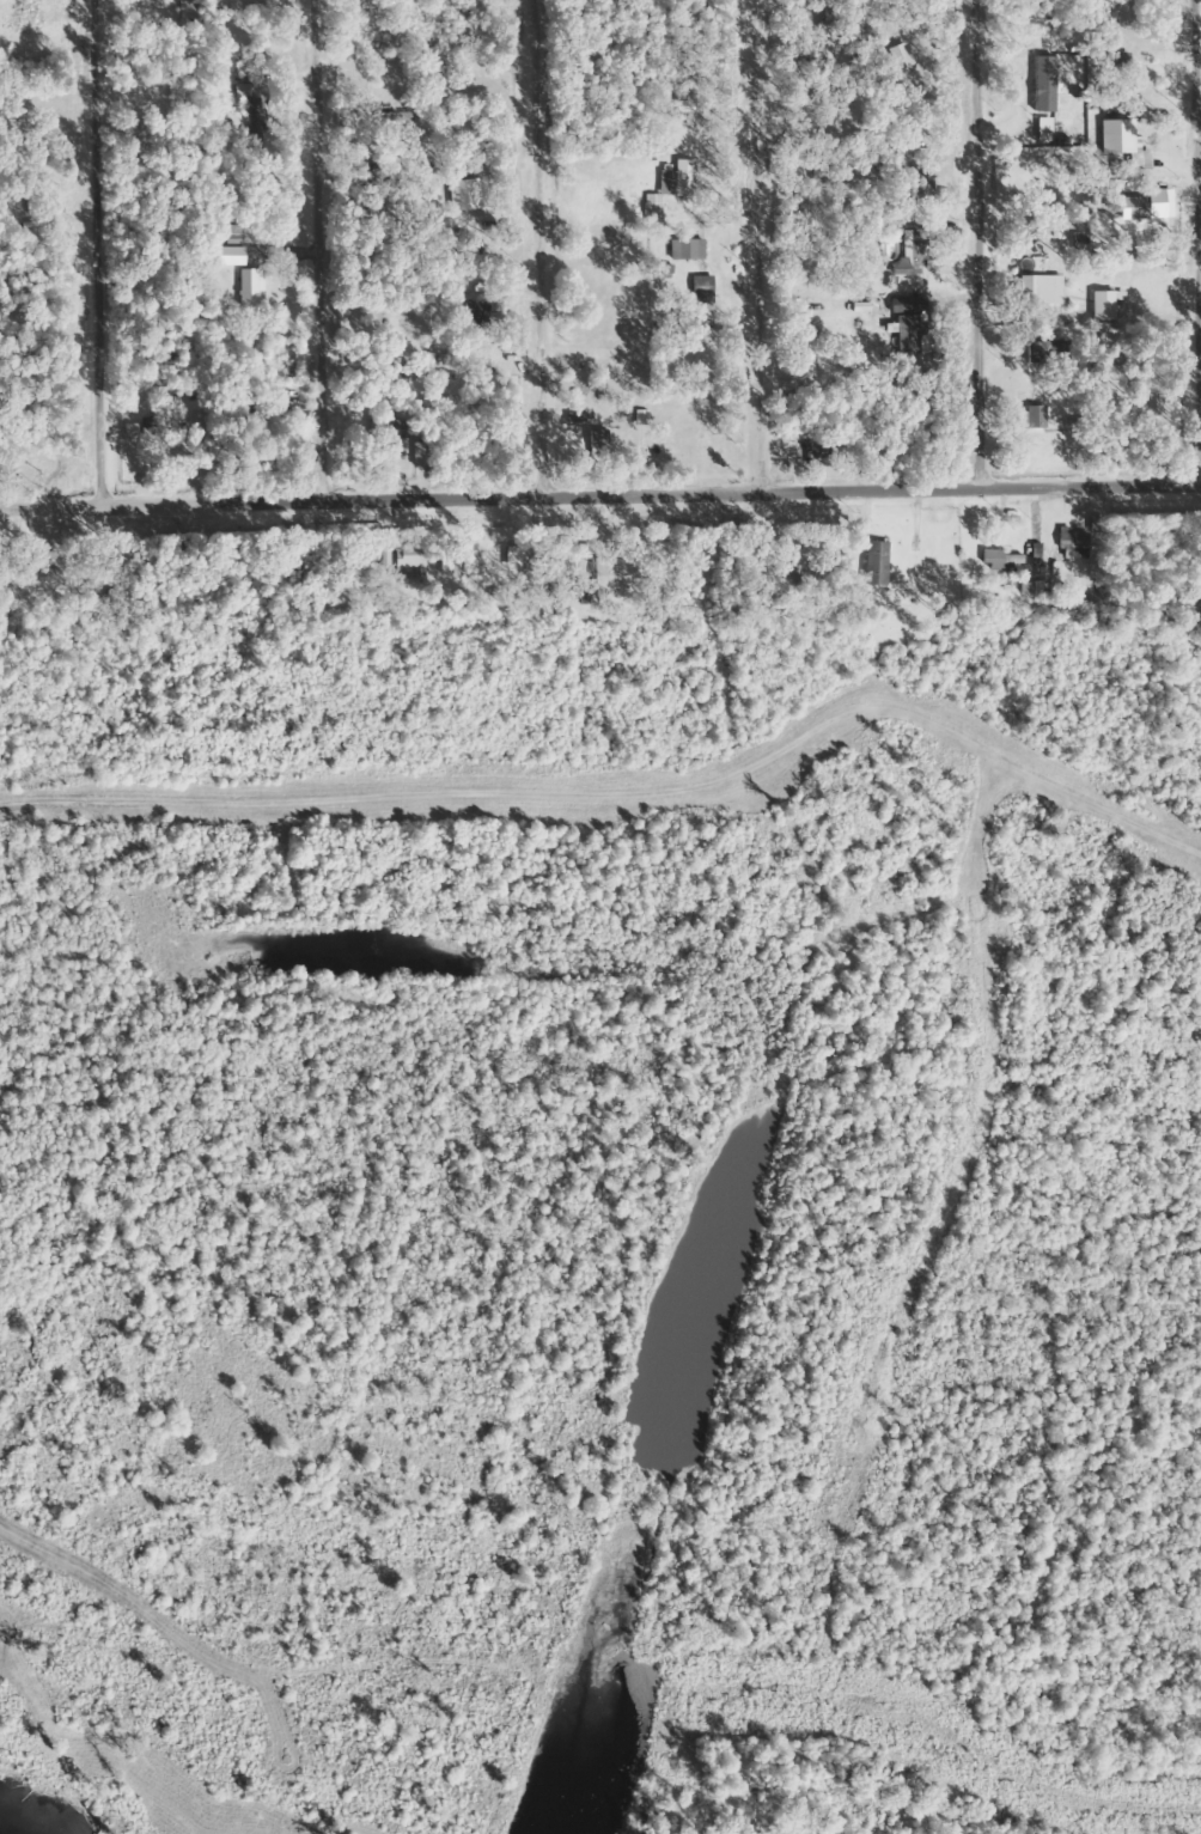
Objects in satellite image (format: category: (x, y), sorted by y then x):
building: (13, 6)
building: (1127, 8)
building: (827, 26)
building: (1111, 60)
building: (239, 93)
building: (682, 111)
building: (818, 175)
building: (666, 190)
building: (462, 195)
building: (14, 206)
building: (1140, 209)
road: (1199, 227)
road: (731, 229)
road: (956, 229)
road: (300, 231)
road: (516, 231)
road: (80, 234)
building: (232, 236)
building: (910, 254)
building: (246, 288)
building: (697, 291)
building: (1028, 291)
building: (471, 316)
building: (806, 355)
building: (163, 388)
building: (249, 414)
building: (1032, 419)
building: (389, 431)
building: (1081, 447)
building: (1032, 449)
building: (804, 453)
building: (419, 456)
road: (599, 461)
building: (1071, 541)
building: (402, 555)
building: (1012, 559)
building: (39, 561)
building: (873, 565)
building: (610, 577)
road: (134, 1737)

